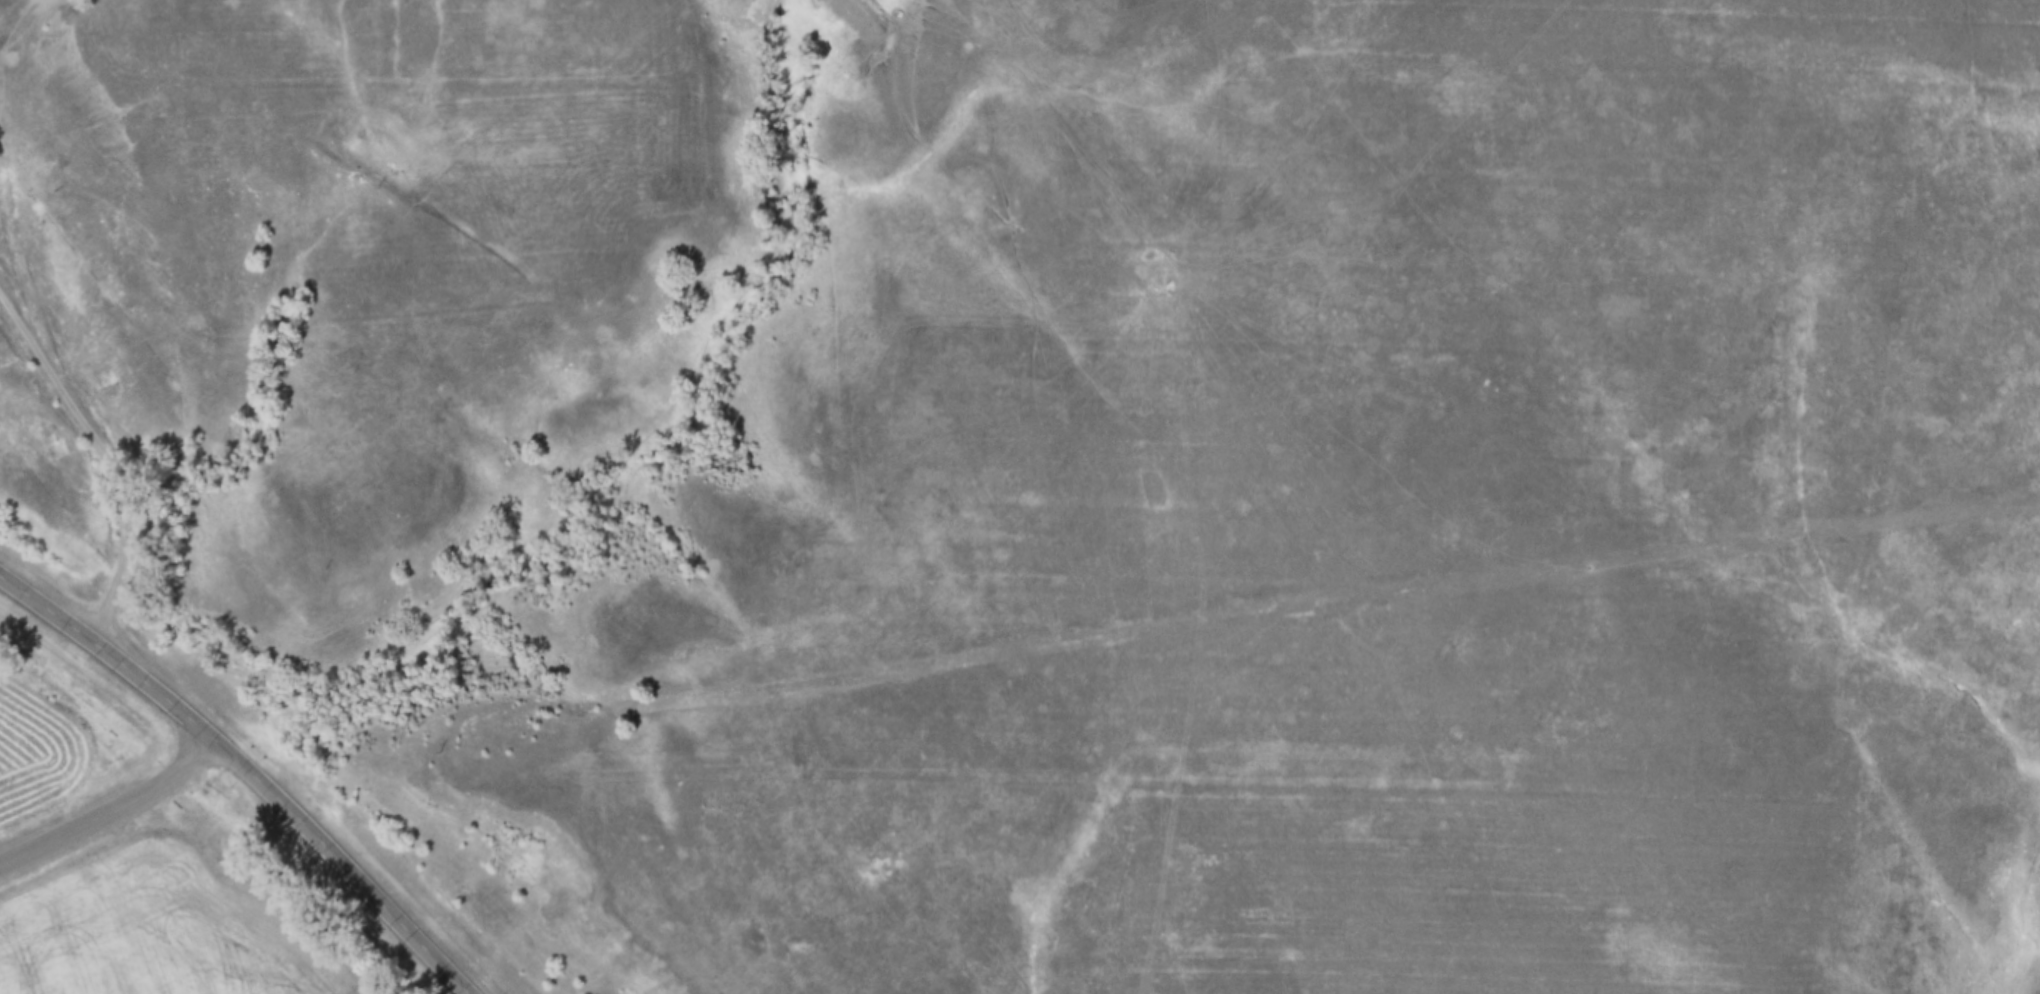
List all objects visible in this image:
road: (244, 771)
road: (113, 812)

